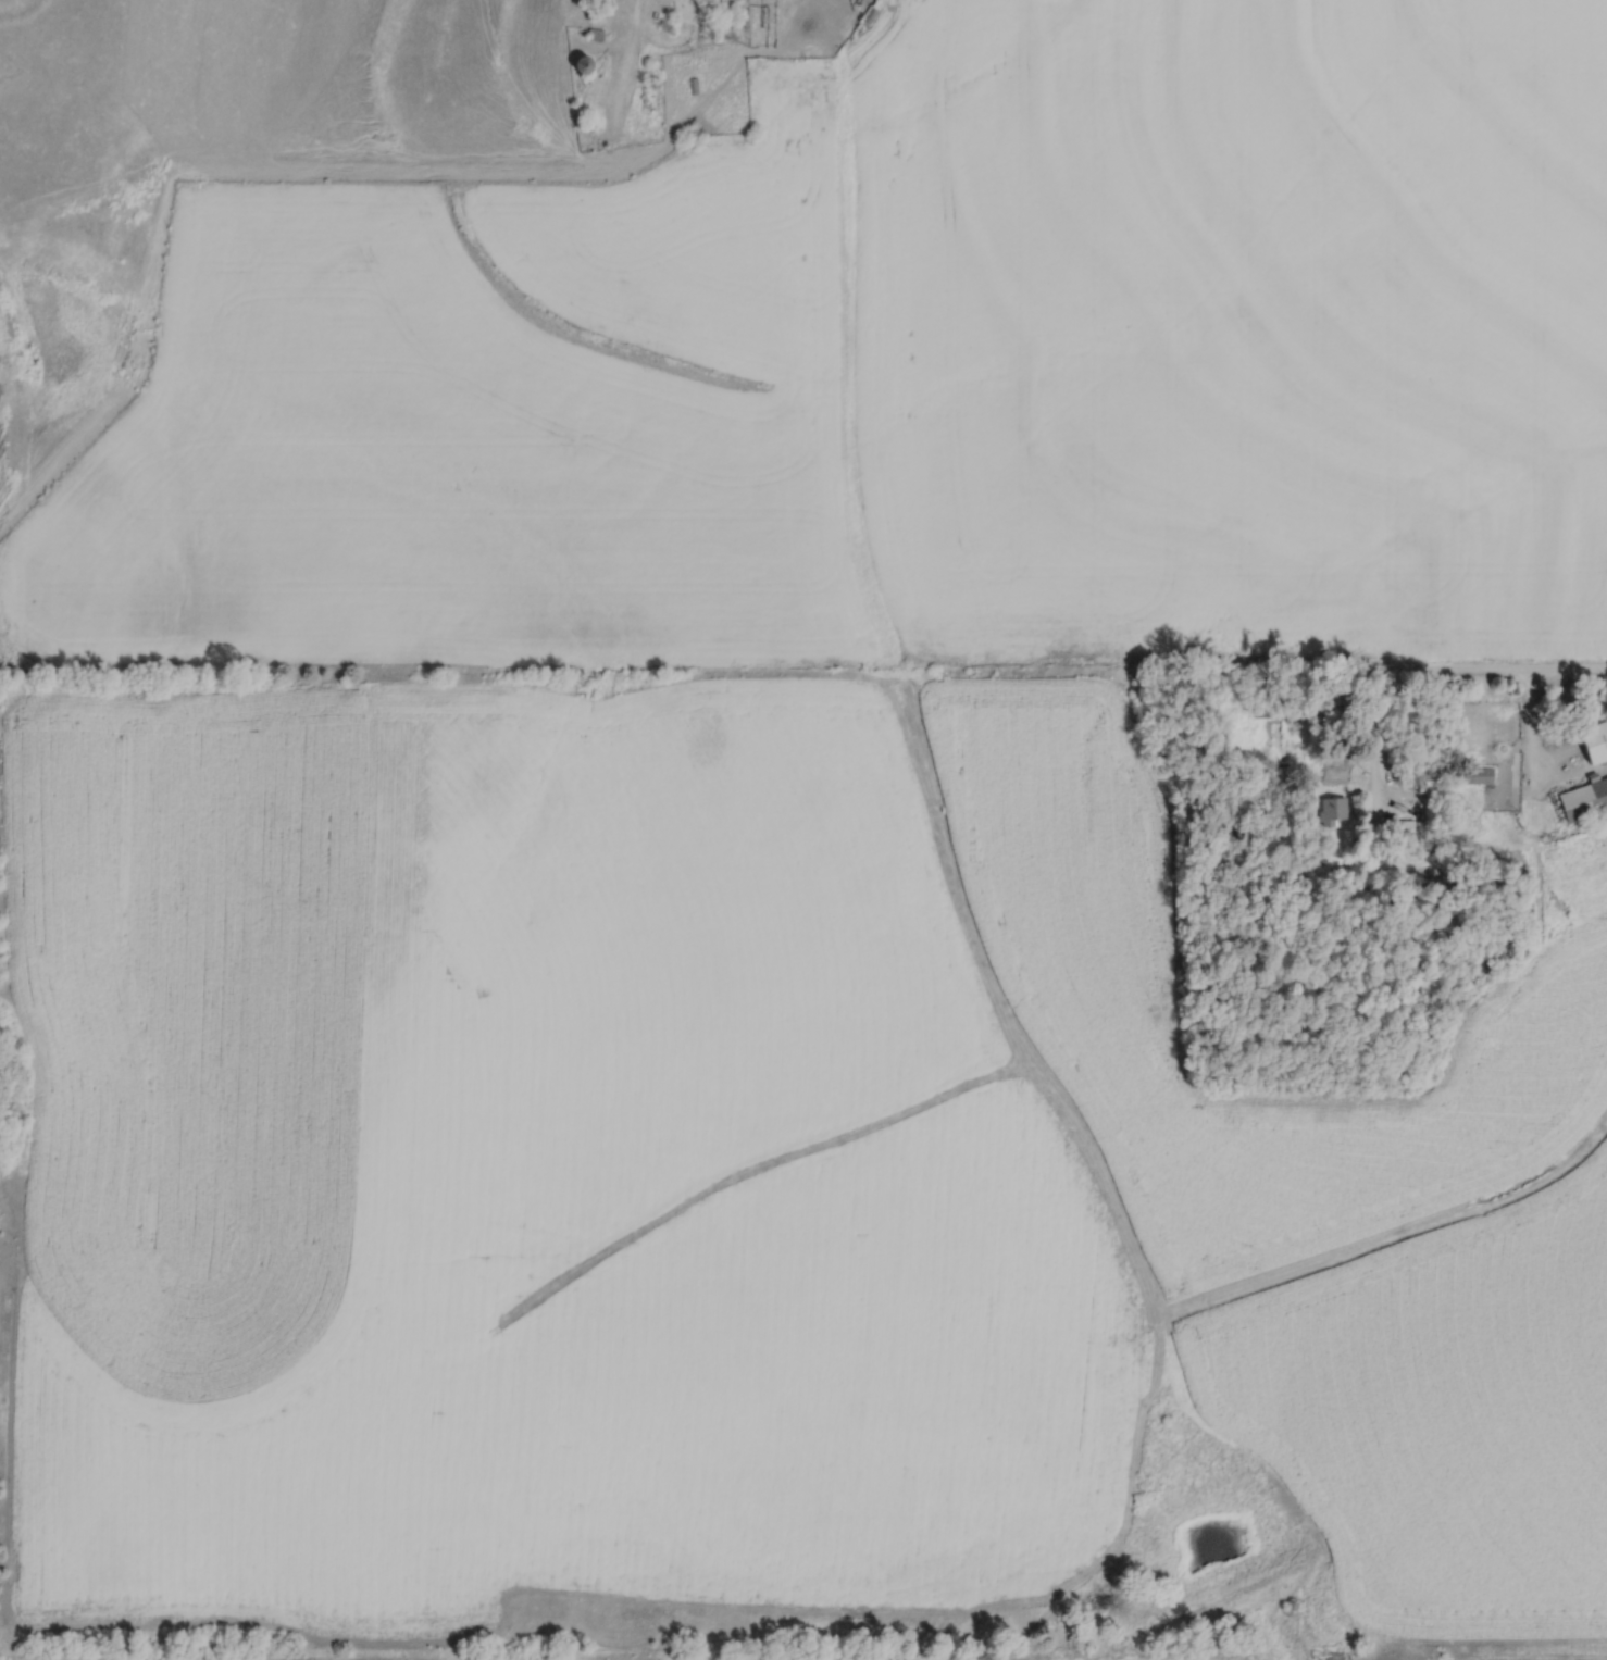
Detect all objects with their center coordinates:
building: (581, 64)
road: (1432, 674)
building: (1272, 709)
building: (1594, 741)
building: (1474, 775)
building: (1583, 797)
building: (1333, 810)
building: (1406, 827)
building: (1486, 948)

